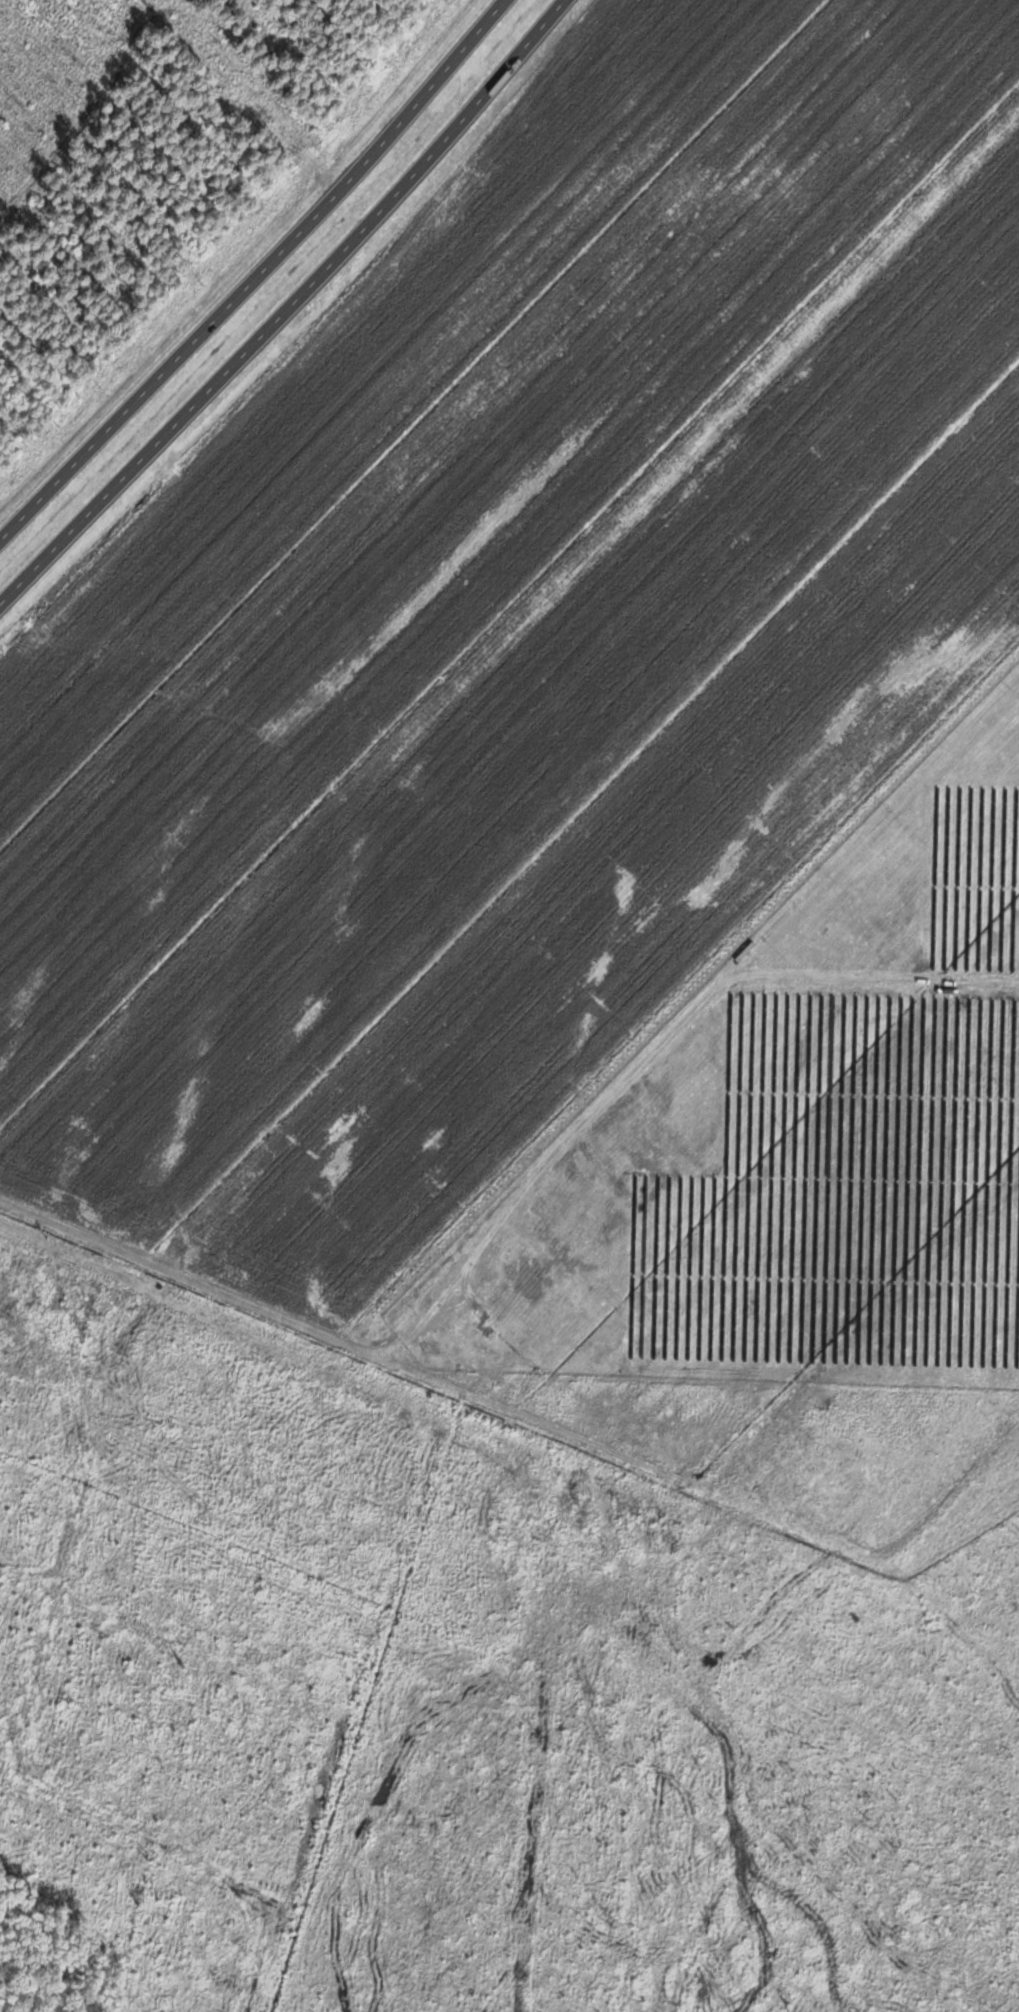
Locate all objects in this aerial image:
road: (253, 274)
road: (286, 307)

